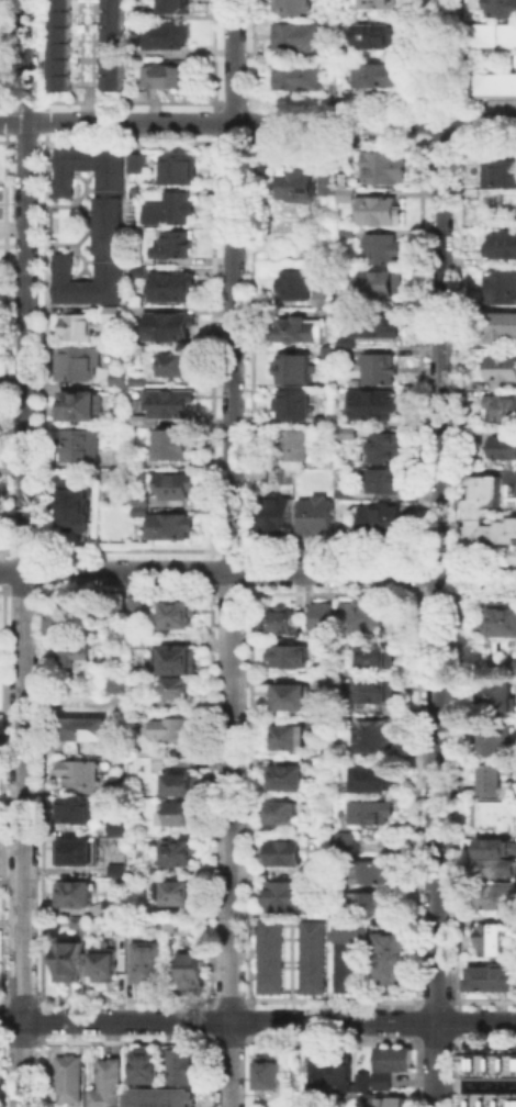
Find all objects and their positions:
building: (0, 2)
building: (176, 4)
building: (381, 4)
building: (296, 7)
building: (500, 7)
building: (141, 9)
building: (166, 33)
building: (490, 33)
building: (136, 37)
building: (379, 37)
building: (300, 38)
building: (88, 43)
parking lot: (88, 43)
building: (132, 52)
building: (165, 71)
building: (301, 77)
building: (379, 77)
building: (490, 83)
road: (88, 102)
road: (257, 121)
building: (138, 165)
building: (386, 169)
building: (181, 171)
building: (498, 171)
building: (329, 185)
building: (497, 186)
building: (303, 187)
building: (349, 195)
building: (381, 209)
building: (171, 210)
building: (111, 227)
building: (350, 233)
building: (500, 244)
building: (176, 246)
building: (382, 250)
building: (139, 272)
building: (498, 284)
building: (385, 286)
building: (295, 287)
building: (171, 289)
building: (325, 299)
building: (348, 303)
building: (113, 315)
building: (380, 326)
building: (498, 326)
building: (79, 328)
building: (171, 328)
building: (302, 332)
building: (347, 339)
building: (78, 365)
building: (175, 366)
building: (292, 366)
building: (500, 366)
building: (380, 370)
building: (121, 378)
building: (139, 380)
building: (501, 405)
building: (170, 406)
building: (294, 406)
building: (82, 407)
building: (374, 407)
building: (139, 422)
building: (176, 446)
building: (501, 446)
building: (80, 447)
building: (296, 447)
building: (386, 448)
building: (138, 463)
building: (330, 465)
road: (476, 470)
building: (123, 478)
parking lot: (509, 480)
building: (389, 481)
building: (177, 488)
building: (347, 494)
building: (72, 503)
building: (139, 503)
building: (485, 510)
building: (276, 513)
building: (317, 517)
building: (384, 522)
building: (172, 527)
road: (437, 552)
road: (25, 553)
road: (233, 553)
road: (257, 572)
building: (135, 604)
building: (119, 606)
building: (179, 616)
building: (324, 617)
building: (63, 618)
building: (378, 619)
building: (502, 622)
building: (282, 623)
building: (143, 644)
building: (78, 652)
building: (379, 657)
building: (290, 658)
building: (179, 661)
building: (514, 666)
building: (119, 686)
building: (180, 690)
building: (375, 690)
building: (301, 693)
building: (500, 696)
building: (327, 724)
building: (85, 729)
building: (176, 730)
building: (377, 737)
building: (290, 740)
building: (496, 745)
building: (326, 764)
building: (77, 771)
building: (288, 779)
building: (377, 781)
building: (493, 781)
building: (183, 787)
building: (76, 813)
building: (282, 814)
building: (374, 814)
building: (178, 815)
building: (495, 816)
building: (115, 826)
building: (124, 830)
building: (350, 846)
building: (79, 853)
building: (181, 854)
building: (284, 856)
building: (497, 856)
building: (318, 870)
building: (374, 872)
building: (179, 894)
building: (75, 895)
building: (287, 897)
building: (500, 899)
building: (373, 904)
building: (117, 906)
building: (77, 921)
building: (122, 928)
building: (493, 941)
building: (270, 955)
building: (313, 955)
building: (351, 957)
building: (394, 959)
building: (67, 960)
building: (149, 962)
building: (105, 966)
building: (195, 973)
building: (494, 981)
road: (258, 1021)
building: (392, 1056)
building: (487, 1061)
building: (180, 1063)
building: (142, 1064)
building: (344, 1070)
building: (271, 1073)
building: (323, 1073)
building: (68, 1076)
building: (364, 1081)
building: (105, 1083)
building: (160, 1097)
building: (489, 1098)
building: (392, 1103)

